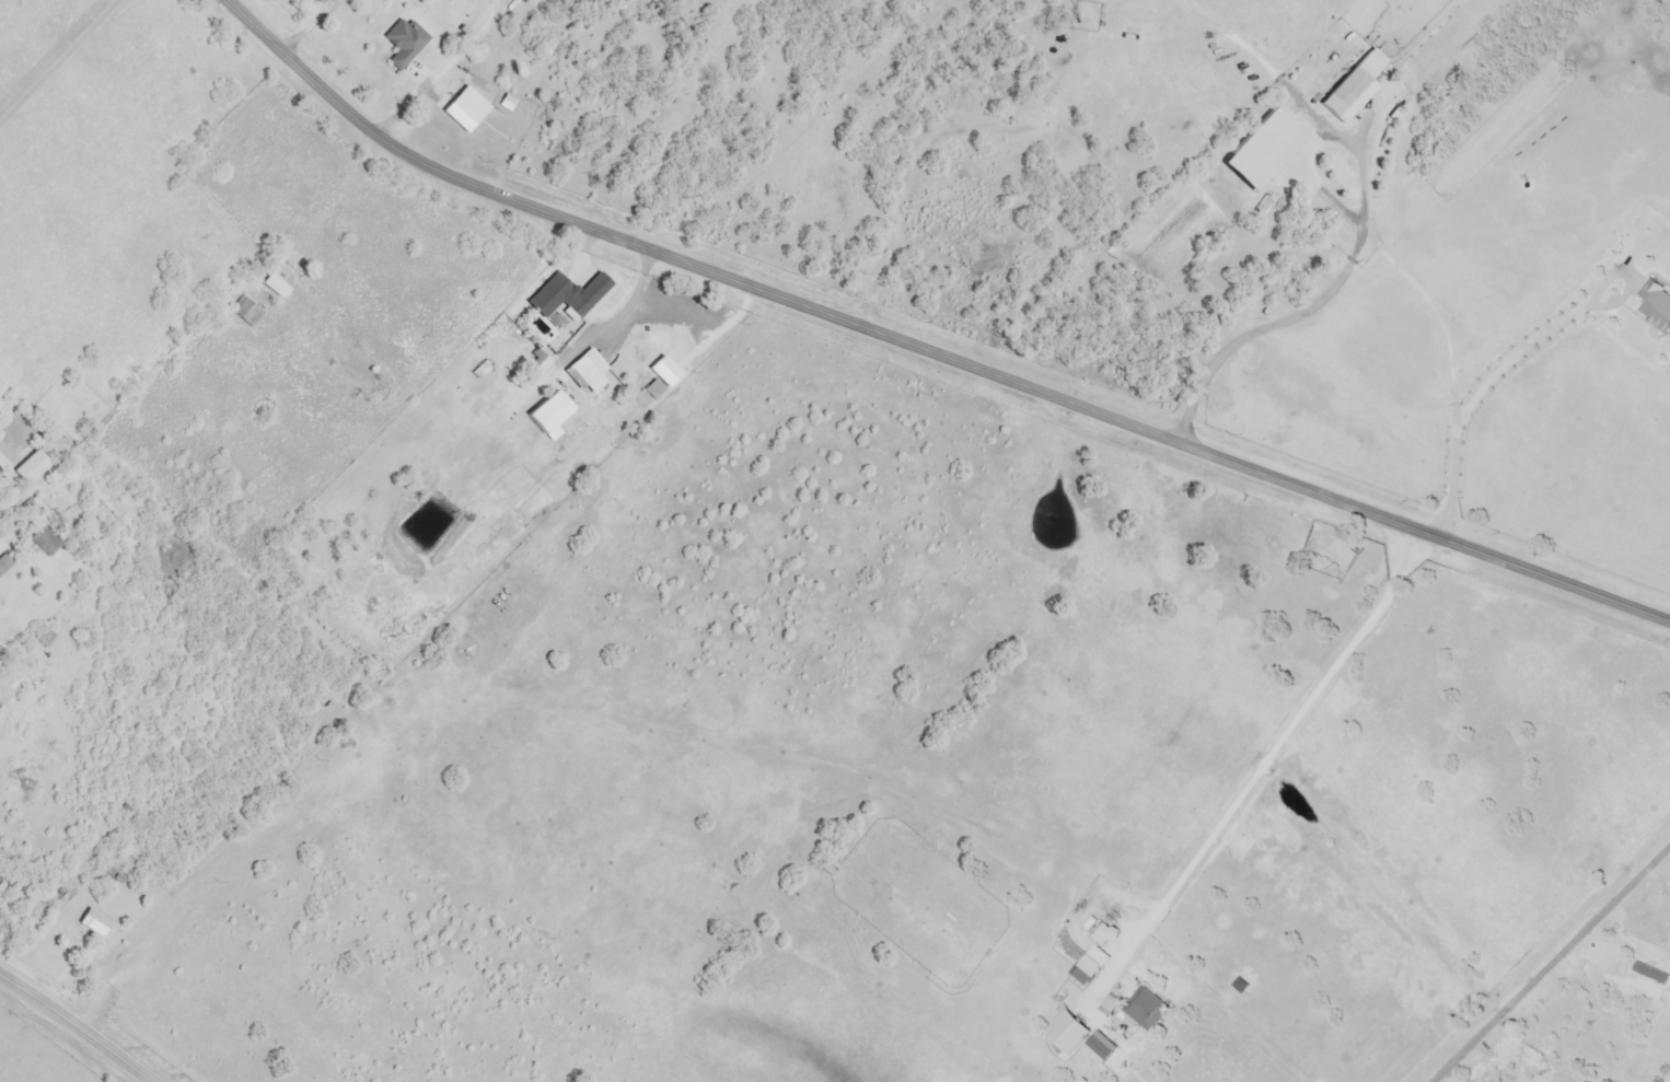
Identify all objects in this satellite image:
building: (403, 43)
building: (1350, 83)
building: (1234, 88)
building: (1210, 105)
building: (1216, 261)
building: (274, 287)
building: (567, 295)
road: (628, 301)
building: (1656, 307)
road: (1309, 310)
building: (245, 312)
road: (716, 335)
building: (552, 348)
building: (646, 349)
road: (925, 351)
building: (582, 371)
building: (652, 389)
building: (30, 468)
building: (43, 543)
building: (3, 563)
building: (92, 923)
building: (1093, 956)
road: (1550, 963)
building: (1146, 1010)
road: (76, 1027)

